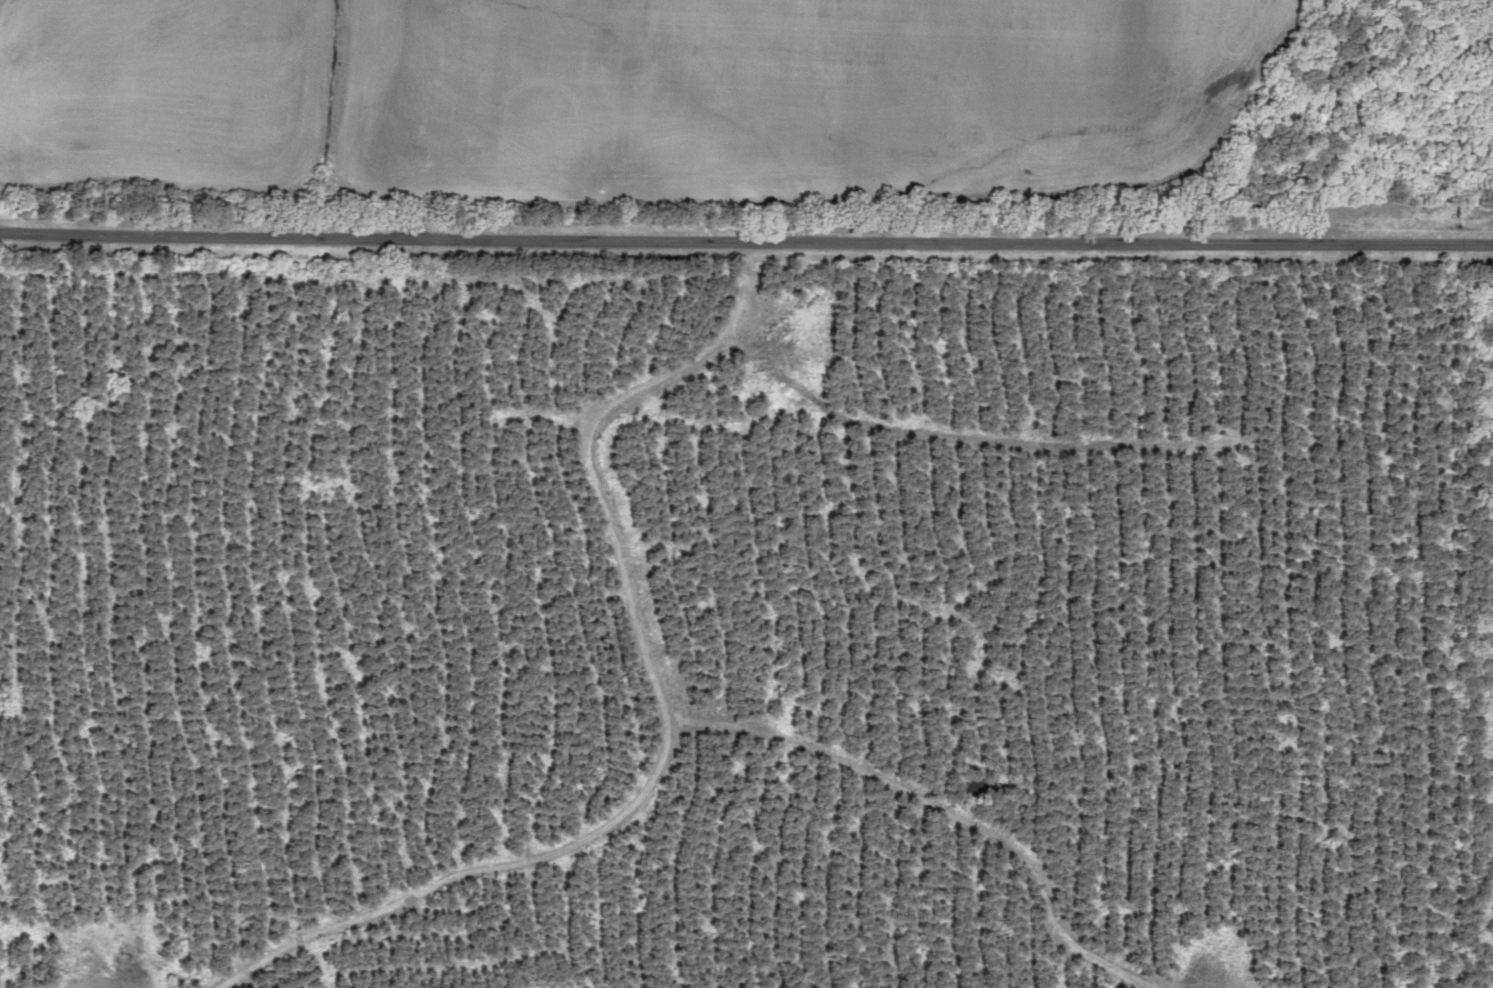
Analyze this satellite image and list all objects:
road: (746, 219)

